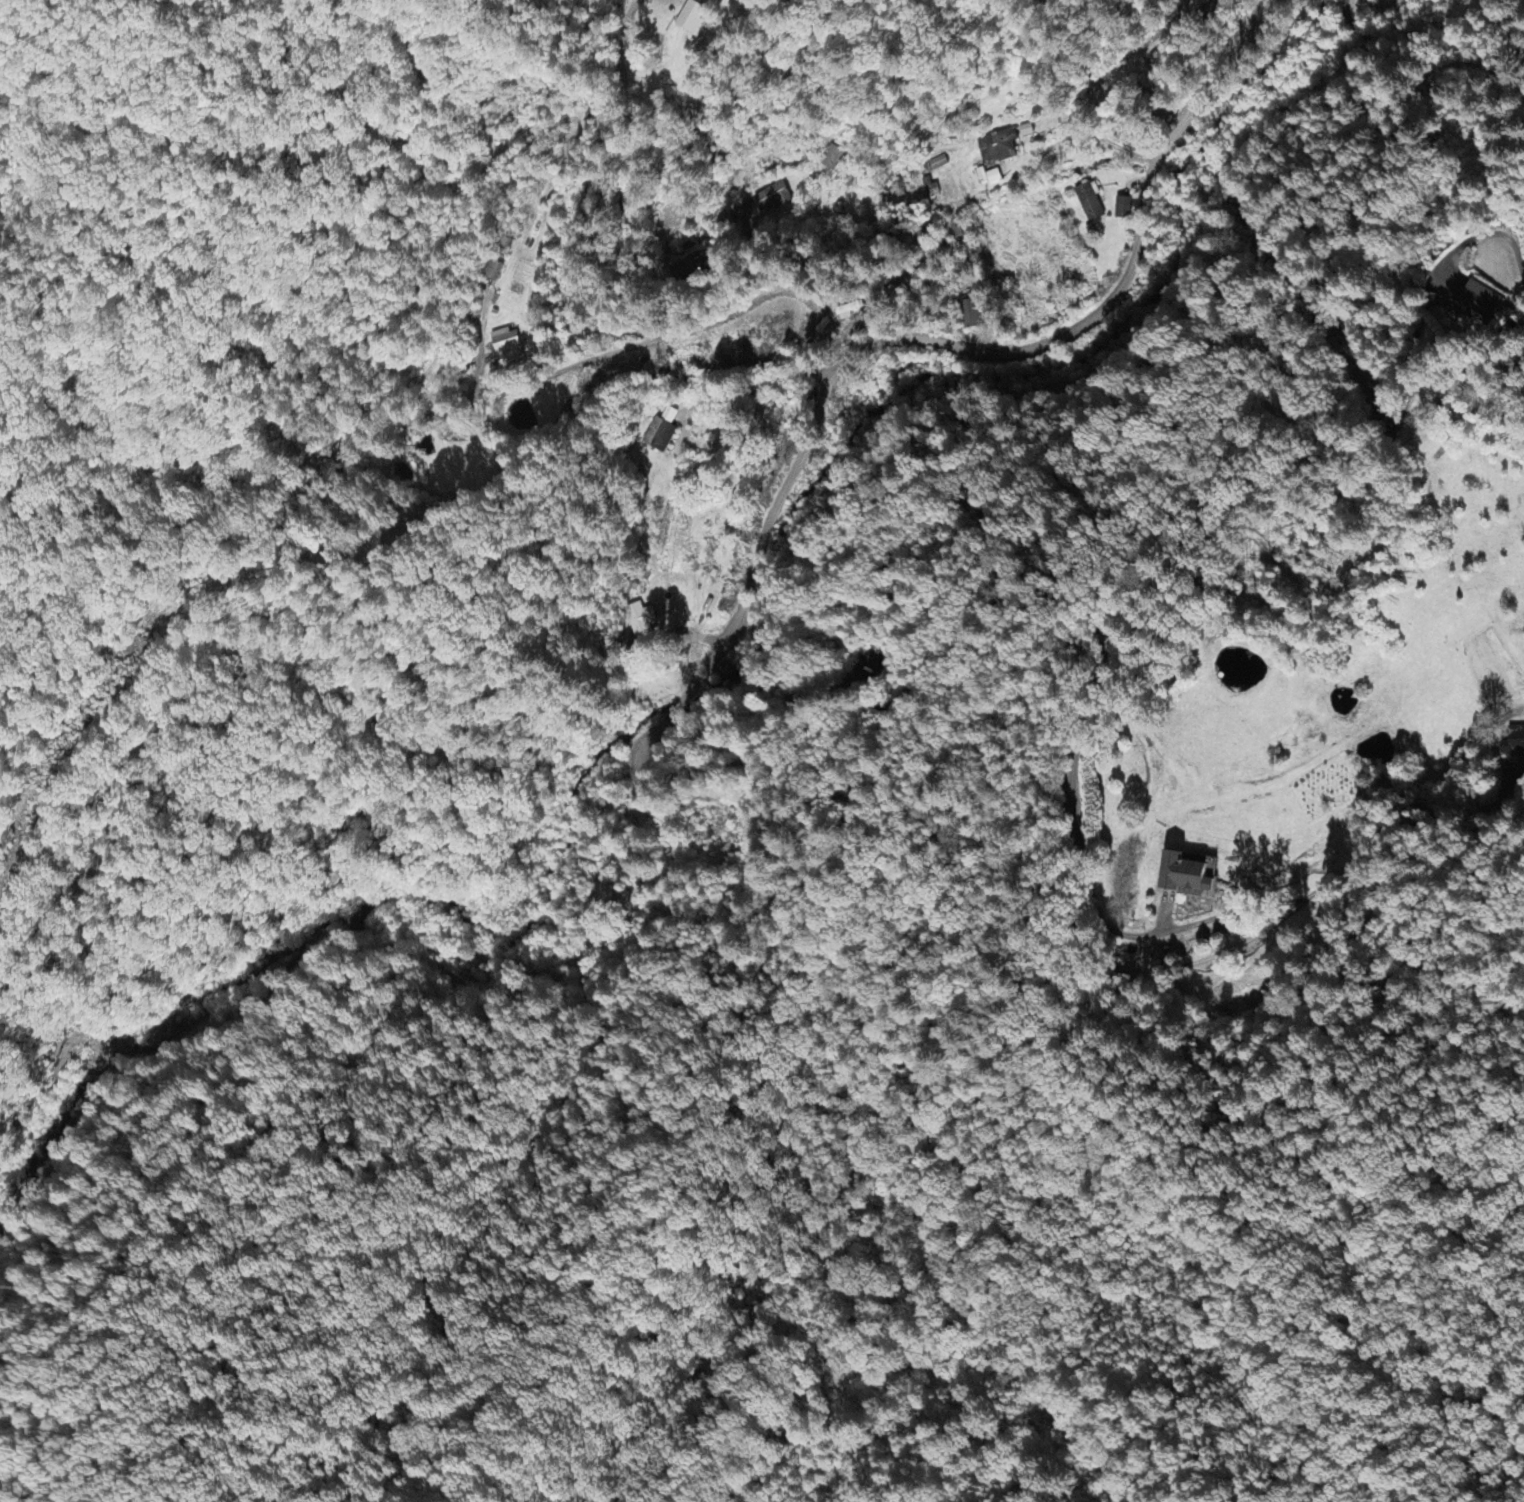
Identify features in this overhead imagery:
building: (696, 18)
road: (1407, 37)
building: (1026, 132)
building: (997, 149)
road: (587, 172)
building: (988, 178)
building: (774, 199)
building: (1092, 204)
building: (1125, 210)
building: (1485, 304)
building: (853, 313)
building: (970, 316)
road: (601, 345)
road: (974, 346)
building: (509, 349)
building: (663, 432)
building: (644, 620)
road: (1043, 637)
road: (187, 649)
road: (675, 704)
building: (1511, 746)
building: (1191, 877)
road: (1307, 1178)

